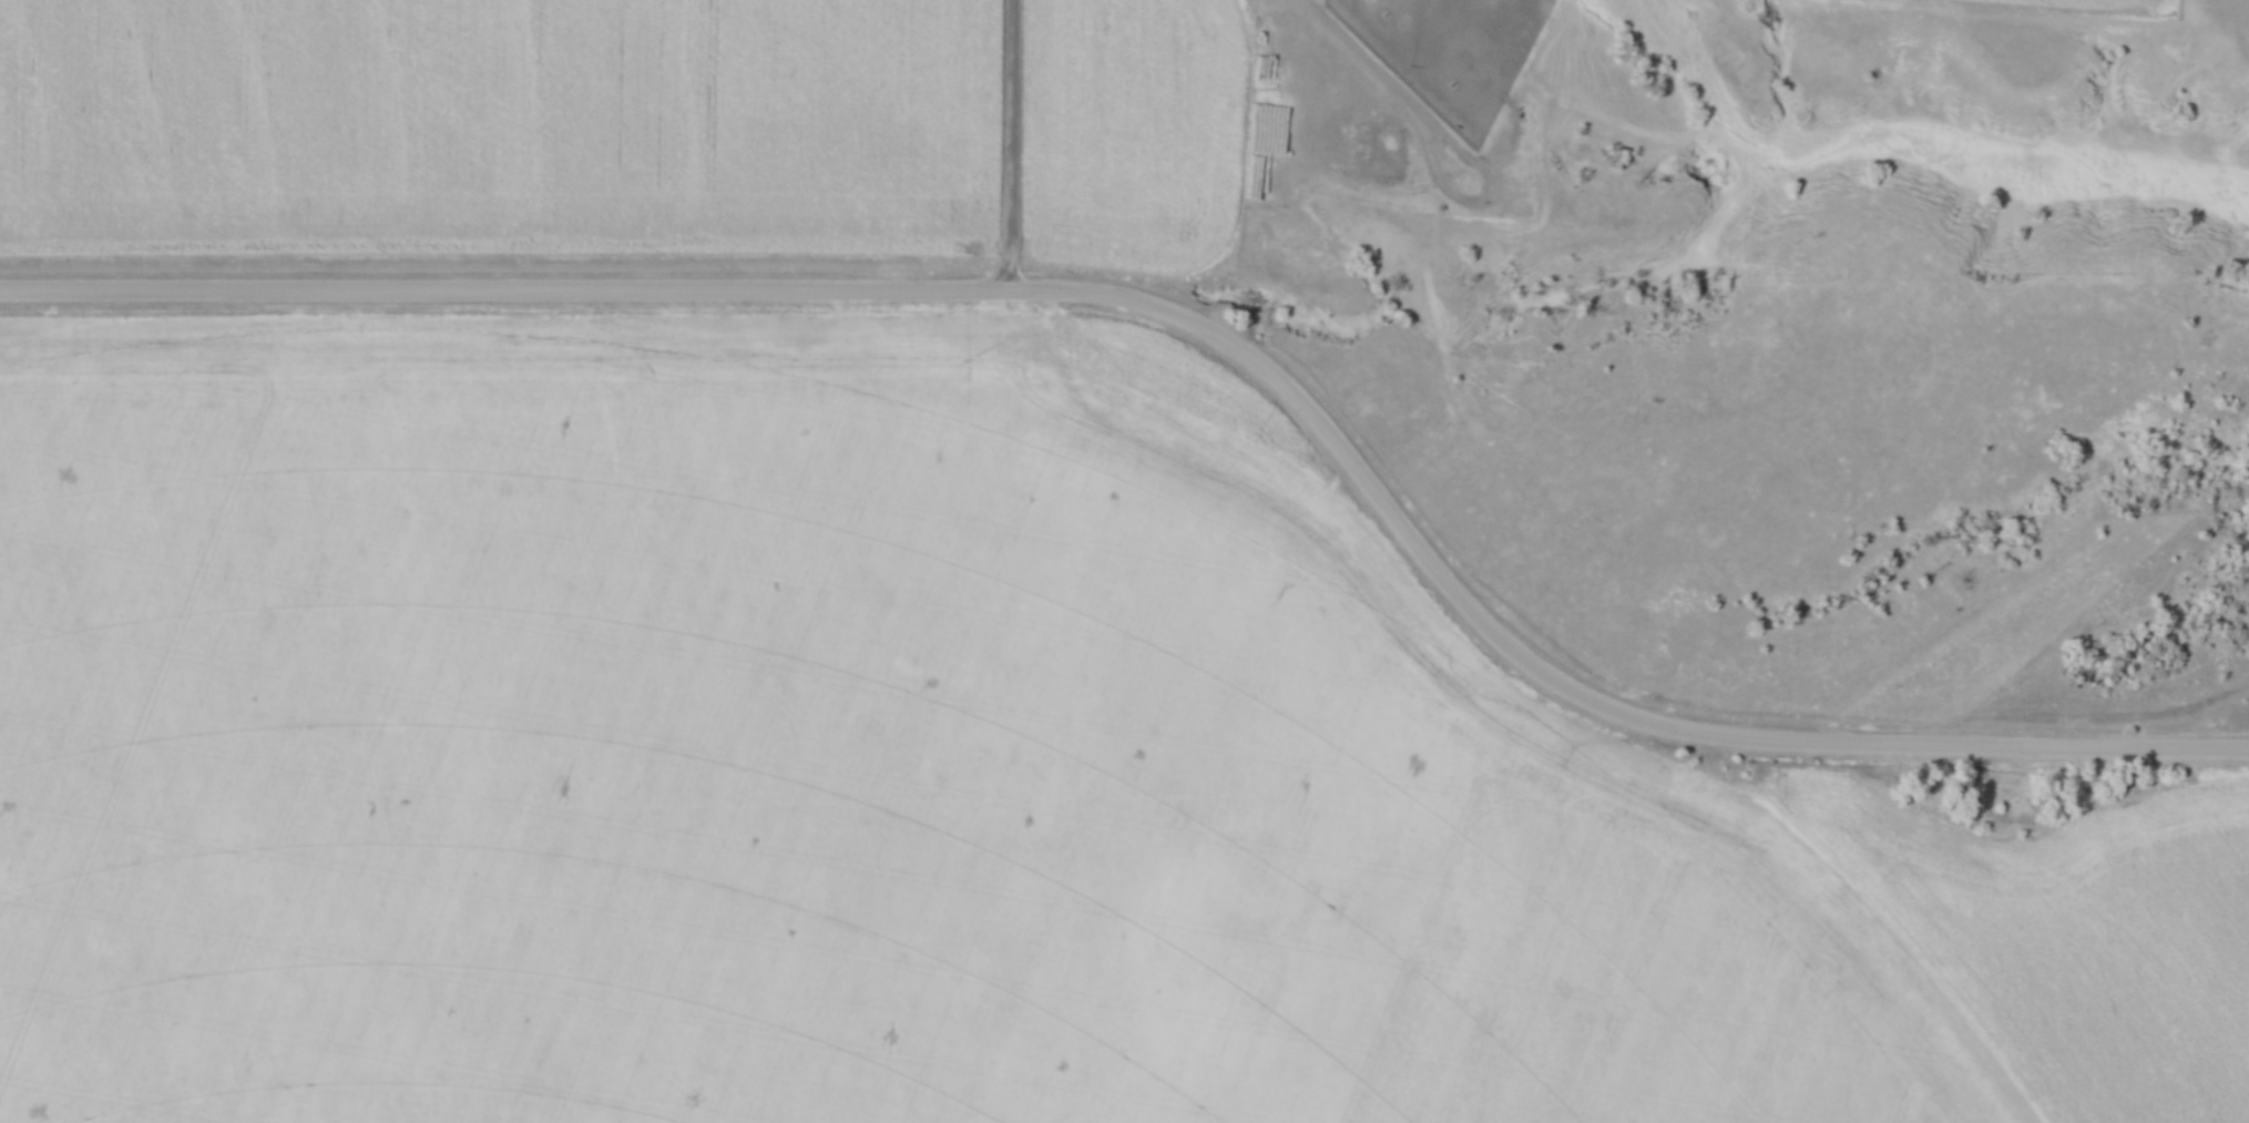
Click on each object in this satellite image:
crop: (495, 120)
road: (1014, 144)
road: (1203, 324)

